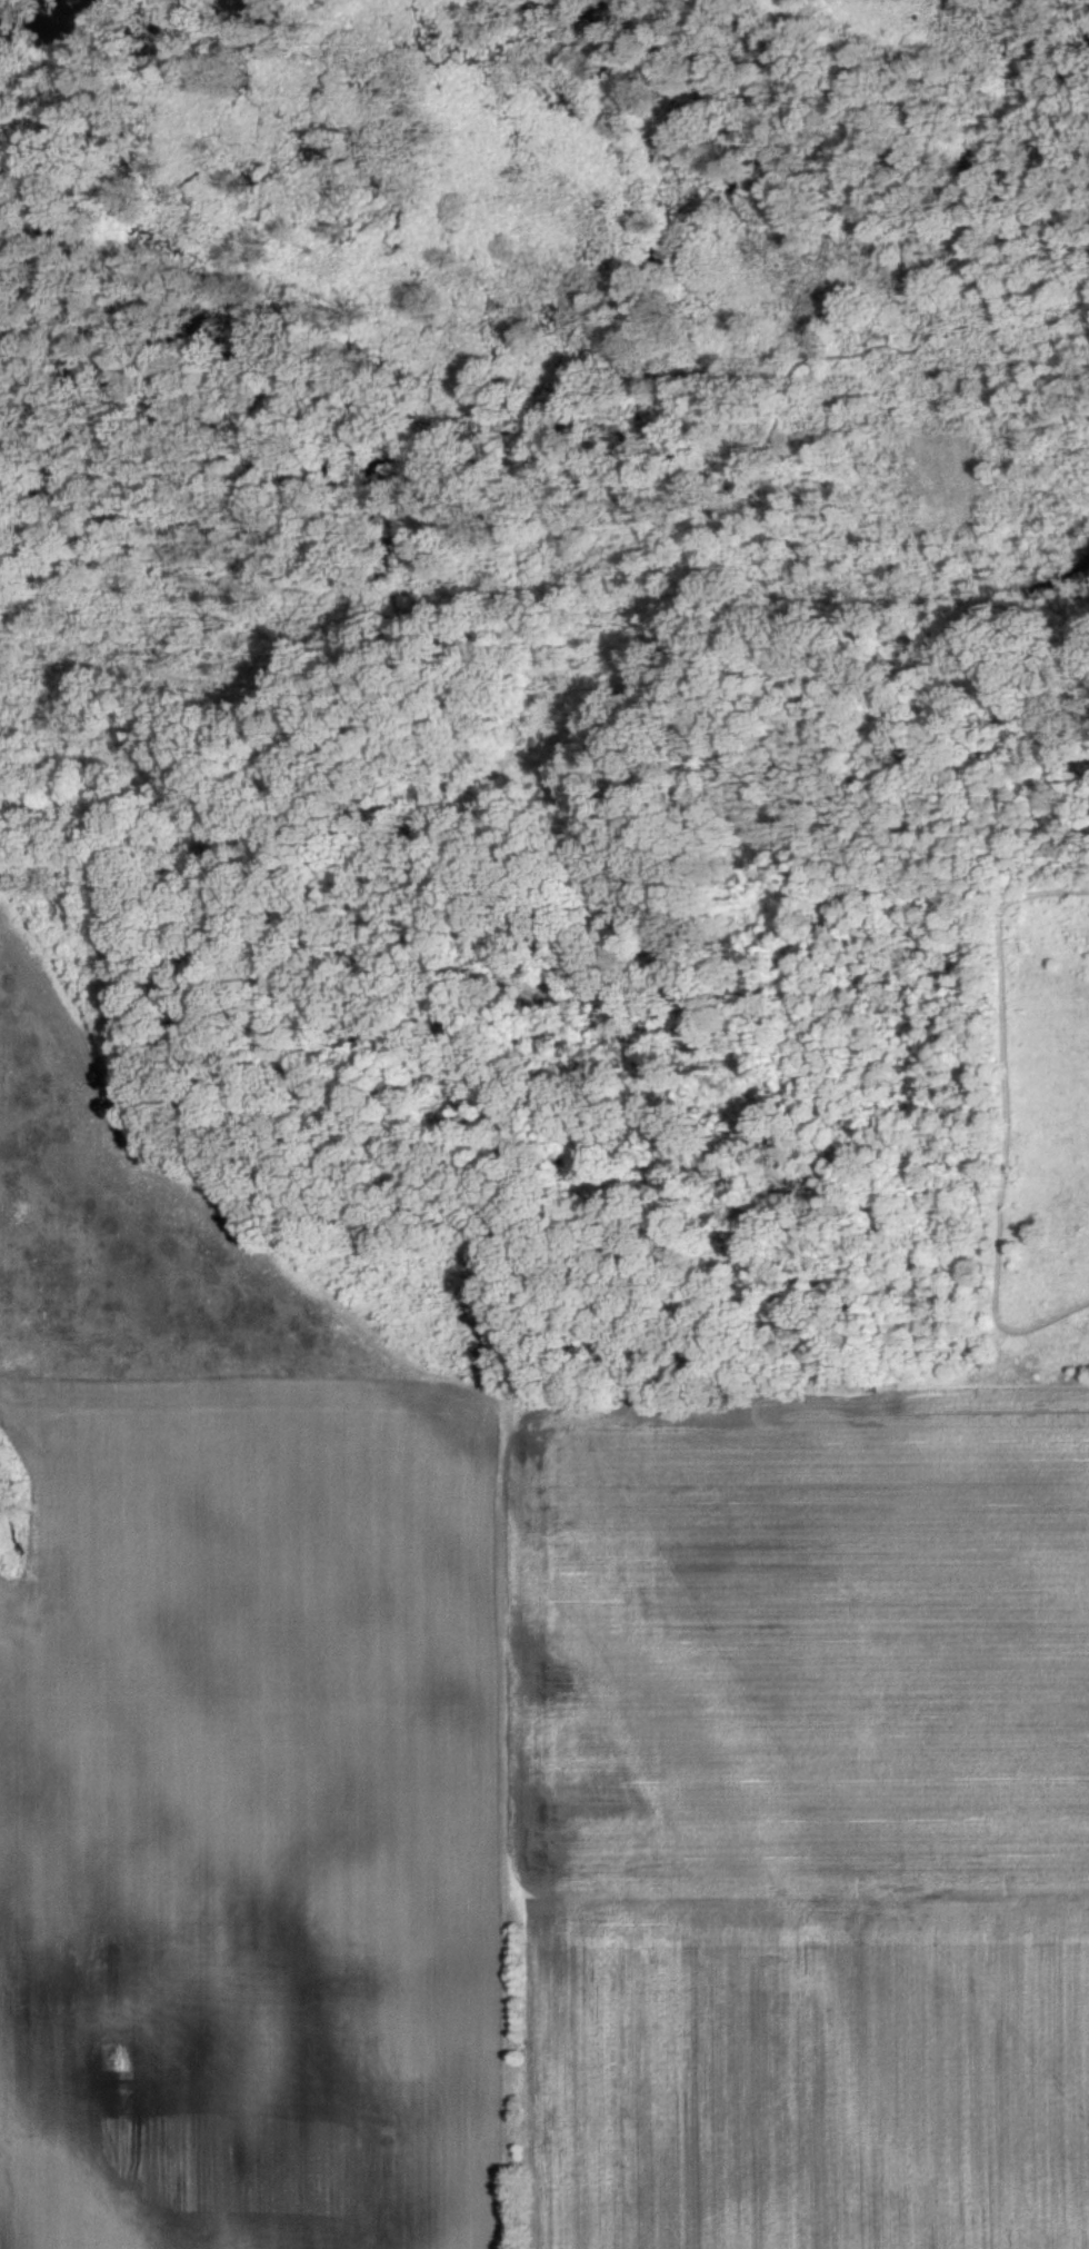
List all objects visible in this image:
river: (40, 16)
road: (1043, 221)
road: (597, 610)
road: (1001, 627)
road: (636, 650)
road: (2, 668)
road: (998, 705)
road: (251, 787)
road: (2, 843)
road: (540, 847)
road: (986, 1056)
road: (1039, 1322)

